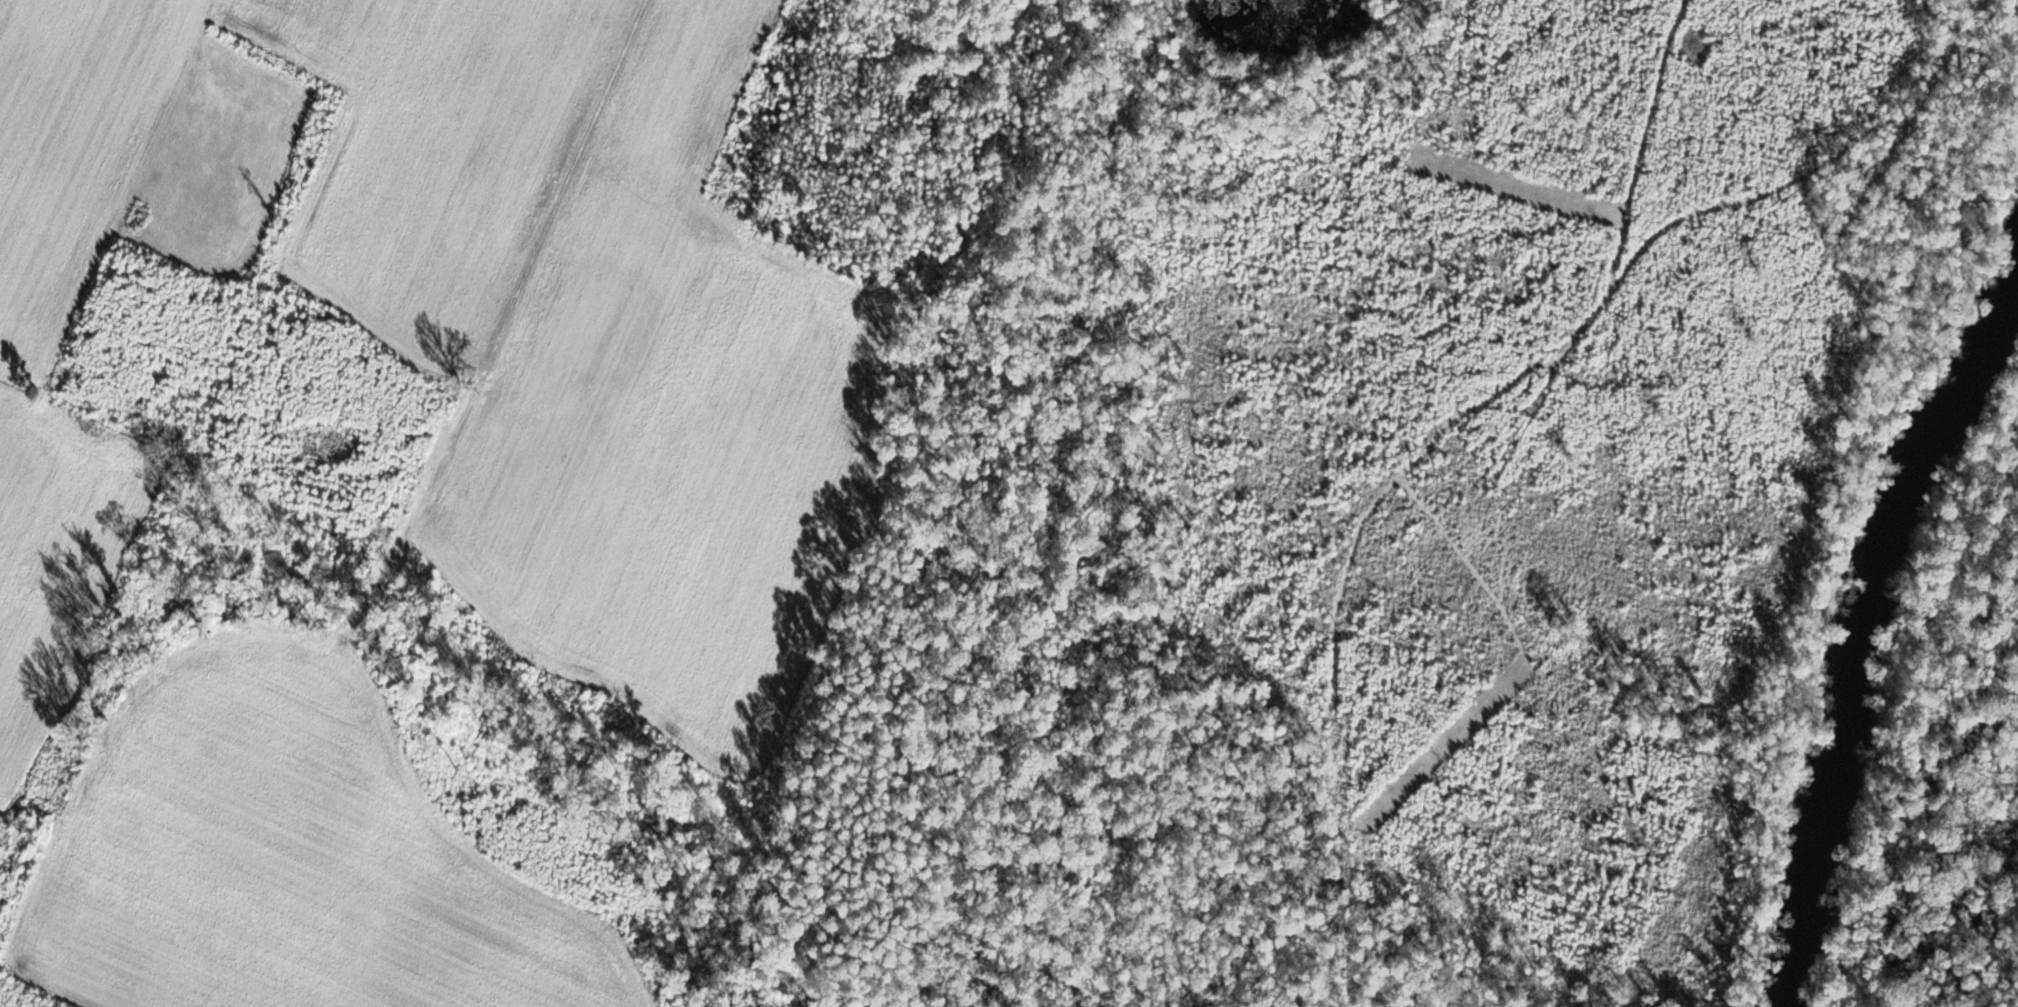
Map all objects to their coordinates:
river: (1874, 628)
airport: (1941, 763)

